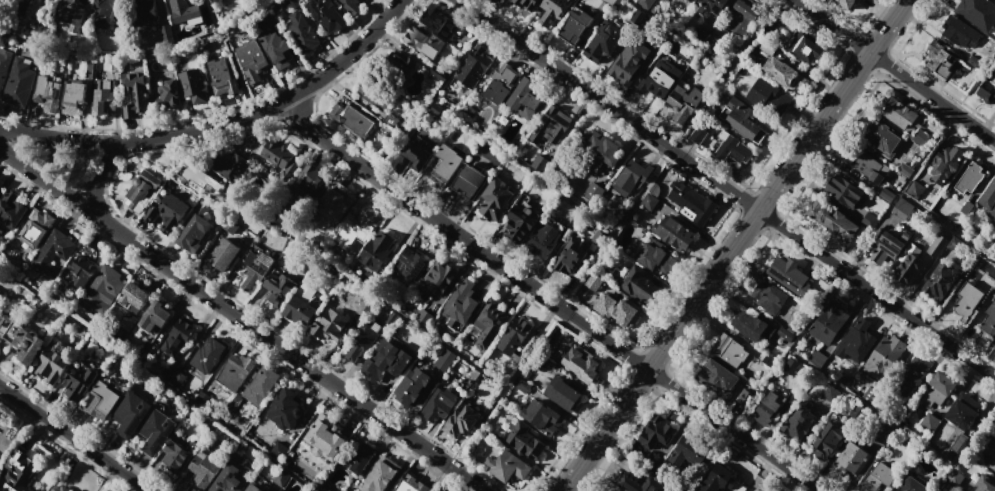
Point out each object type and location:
building: (689, 1)
building: (609, 2)
building: (845, 3)
building: (527, 4)
building: (351, 6)
building: (710, 6)
building: (37, 9)
building: (554, 10)
building: (107, 11)
building: (183, 11)
building: (145, 12)
building: (978, 12)
building: (71, 14)
building: (325, 14)
building: (742, 18)
building: (439, 23)
building: (575, 26)
building: (165, 30)
building: (301, 32)
building: (959, 32)
building: (719, 34)
building: (699, 35)
building: (604, 40)
building: (424, 42)
building: (767, 47)
building: (805, 47)
building: (276, 48)
building: (939, 58)
building: (251, 59)
building: (628, 61)
building: (4, 63)
building: (400, 63)
building: (474, 66)
building: (994, 69)
road: (895, 71)
building: (783, 73)
building: (220, 76)
building: (661, 79)
building: (993, 79)
building: (18, 82)
building: (499, 82)
building: (192, 85)
building: (994, 86)
building: (994, 89)
building: (46, 90)
building: (74, 90)
building: (374, 93)
building: (524, 95)
building: (166, 96)
building: (769, 97)
building: (137, 98)
building: (103, 99)
building: (684, 102)
building: (899, 112)
building: (351, 119)
building: (742, 119)
road: (218, 125)
building: (551, 125)
building: (919, 136)
building: (882, 138)
building: (733, 149)
building: (598, 150)
building: (275, 151)
building: (415, 156)
building: (540, 163)
building: (946, 164)
building: (229, 166)
building: (446, 166)
building: (904, 171)
building: (876, 177)
building: (971, 177)
building: (198, 178)
building: (631, 178)
road: (101, 180)
building: (311, 180)
building: (0, 181)
building: (468, 181)
building: (0, 184)
building: (141, 187)
road: (727, 188)
building: (915, 189)
building: (845, 190)
building: (593, 191)
building: (887, 194)
building: (495, 200)
building: (989, 200)
building: (336, 201)
building: (648, 201)
building: (691, 202)
building: (902, 208)
building: (966, 208)
building: (11, 210)
building: (167, 213)
building: (521, 219)
building: (869, 220)
building: (363, 223)
building: (834, 223)
building: (35, 229)
building: (194, 229)
building: (674, 233)
building: (543, 239)
building: (940, 242)
road: (734, 245)
building: (889, 246)
building: (377, 250)
building: (53, 252)
building: (222, 255)
building: (570, 257)
building: (655, 257)
building: (410, 263)
building: (910, 263)
building: (256, 268)
building: (81, 270)
building: (788, 275)
building: (438, 279)
building: (593, 281)
building: (940, 282)
building: (637, 284)
building: (278, 287)
building: (103, 289)
building: (0, 292)
building: (133, 296)
road: (549, 297)
building: (769, 297)
building: (967, 300)
building: (460, 303)
building: (38, 304)
building: (301, 305)
building: (364, 306)
building: (618, 310)
building: (154, 316)
road: (242, 317)
building: (423, 317)
building: (989, 317)
building: (392, 318)
building: (490, 322)
building: (329, 325)
building: (751, 326)
building: (827, 331)
building: (513, 335)
building: (177, 336)
building: (361, 341)
building: (855, 341)
building: (994, 346)
building: (30, 348)
building: (730, 351)
building: (204, 355)
building: (141, 356)
building: (885, 358)
building: (444, 359)
building: (386, 362)
building: (51, 364)
building: (581, 364)
building: (235, 371)
building: (169, 372)
building: (717, 376)
building: (909, 376)
building: (78, 383)
building: (261, 385)
building: (413, 386)
building: (938, 389)
building: (564, 395)
building: (103, 398)
building: (439, 405)
building: (768, 408)
building: (285, 409)
building: (963, 411)
building: (129, 413)
building: (540, 415)
building: (799, 421)
building: (460, 422)
building: (929, 422)
building: (154, 431)
building: (657, 432)
building: (325, 438)
road: (72, 439)
building: (524, 440)
building: (827, 441)
building: (278, 451)
building: (990, 453)
building: (688, 454)
building: (358, 455)
building: (175, 456)
building: (850, 460)
building: (508, 466)
building: (203, 470)
building: (17, 472)
building: (380, 475)
building: (230, 476)
building: (878, 477)
building: (954, 478)
building: (718, 479)
building: (629, 480)
building: (409, 484)
building: (984, 484)
building: (911, 485)
building: (60, 488)
building: (253, 488)
building: (613, 490)
building: (616, 490)

